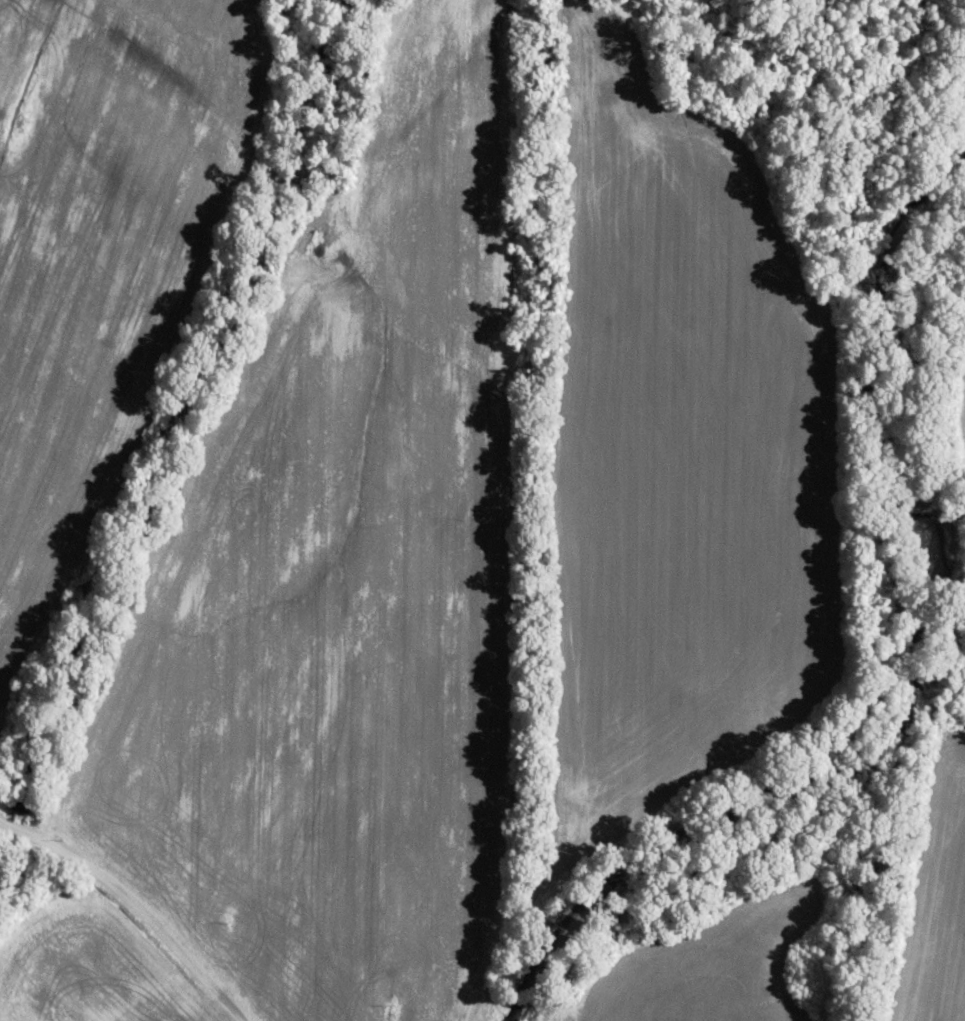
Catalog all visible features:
road: (133, 905)

